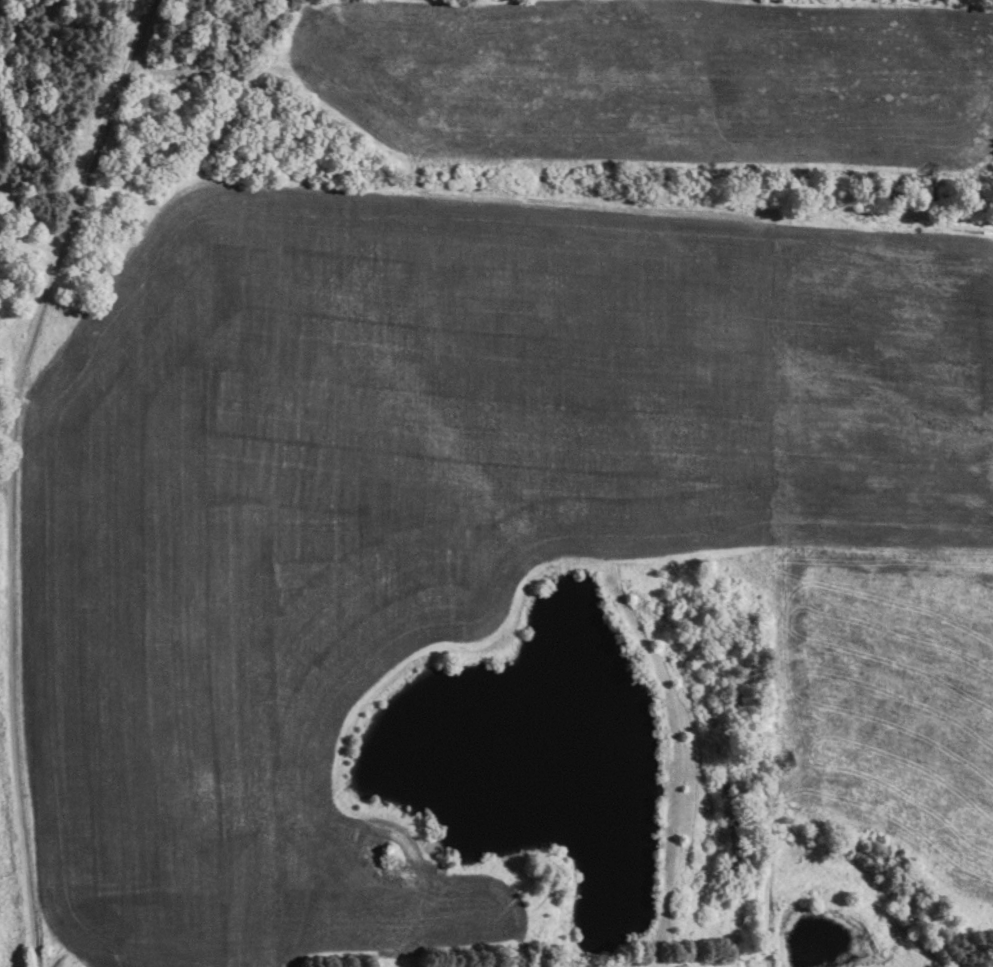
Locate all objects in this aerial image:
road: (11, 472)

